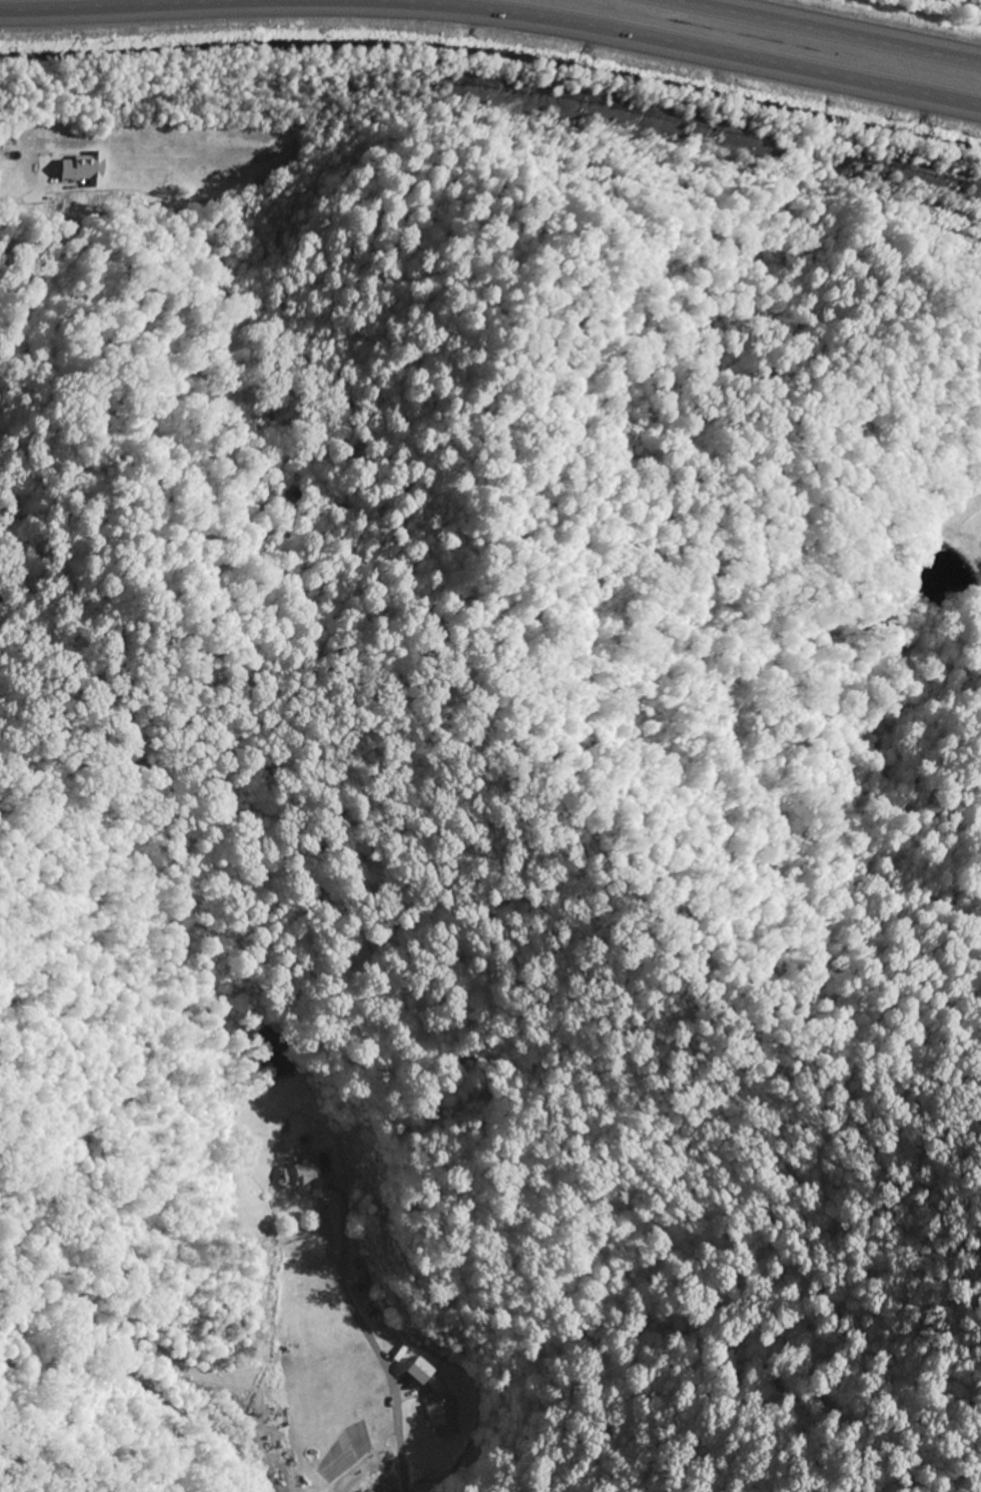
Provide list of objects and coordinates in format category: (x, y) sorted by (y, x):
road: (973, 1)
road: (494, 14)
road: (816, 33)
building: (82, 168)
building: (302, 1177)
building: (437, 1402)

